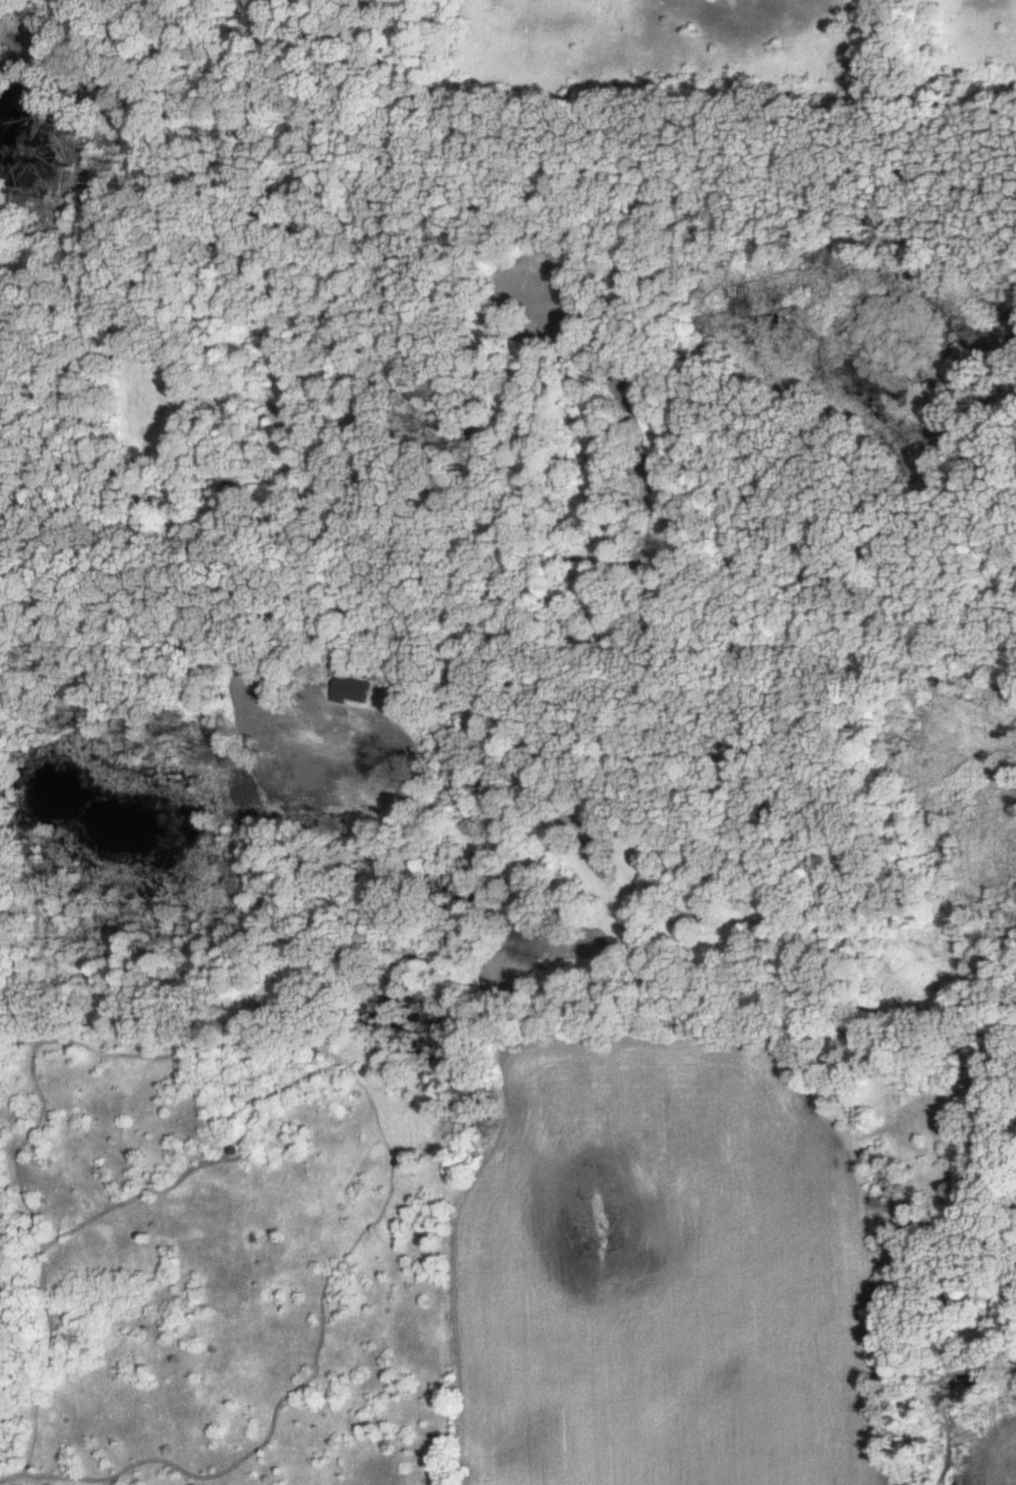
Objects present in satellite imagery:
building: (351, 693)

